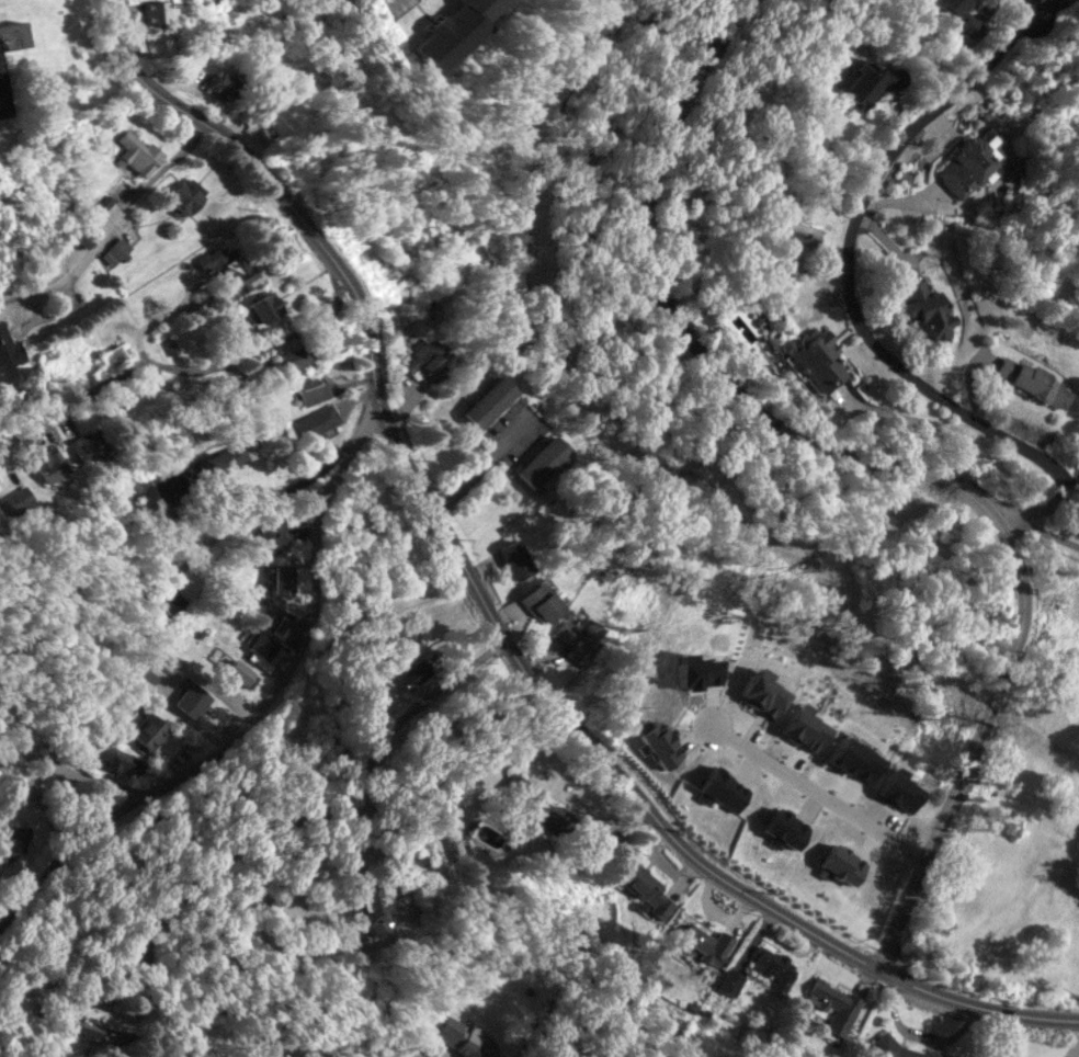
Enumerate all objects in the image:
building: (159, 11)
building: (964, 15)
building: (452, 31)
building: (11, 34)
building: (160, 44)
building: (872, 81)
building: (223, 82)
building: (2, 99)
building: (276, 120)
building: (137, 152)
building: (973, 160)
building: (186, 194)
road: (110, 227)
building: (794, 246)
road: (844, 253)
building: (263, 307)
building: (927, 309)
building: (9, 349)
building: (113, 354)
building: (292, 357)
building: (809, 357)
building: (425, 361)
road: (203, 368)
building: (1032, 382)
building: (311, 388)
building: (487, 401)
building: (316, 421)
park: (731, 424)
building: (88, 444)
building: (237, 453)
building: (541, 461)
building: (49, 463)
road: (482, 463)
road: (882, 464)
road: (293, 490)
building: (14, 501)
road: (1042, 507)
road: (440, 521)
road: (1037, 530)
building: (270, 536)
building: (514, 558)
building: (281, 579)
building: (168, 599)
building: (539, 601)
building: (277, 625)
building: (576, 640)
building: (264, 651)
building: (239, 671)
building: (409, 672)
building: (695, 672)
building: (761, 691)
building: (191, 696)
building: (804, 728)
building: (149, 730)
road: (246, 731)
building: (656, 742)
building: (115, 757)
building: (853, 759)
road: (70, 770)
building: (722, 789)
road: (818, 795)
building: (533, 804)
building: (784, 829)
building: (14, 838)
building: (13, 855)
road: (226, 856)
building: (840, 866)
building: (645, 887)
building: (373, 908)
building: (702, 942)
building: (773, 968)
building: (729, 980)
building: (833, 1005)
road: (975, 1007)
building: (82, 1026)
building: (459, 1035)
building: (901, 1049)

